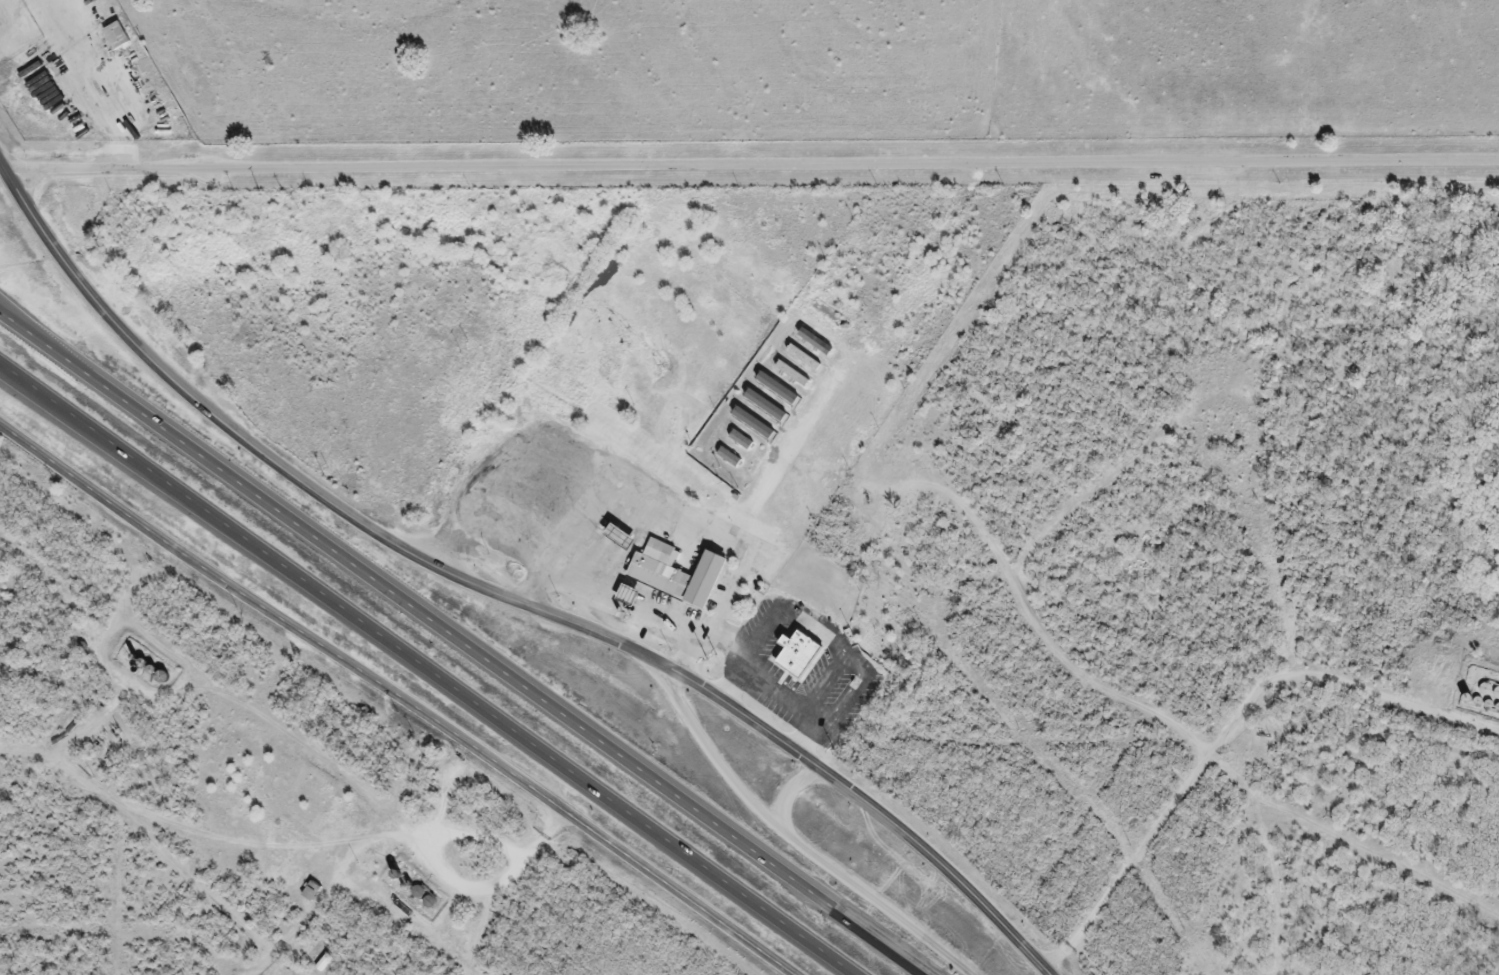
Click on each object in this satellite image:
building: (111, 37)
road: (753, 166)
road: (682, 512)
building: (672, 578)
road: (499, 598)
road: (625, 609)
road: (465, 639)
building: (793, 656)
road: (425, 670)
road: (396, 696)
road: (1227, 730)
road: (789, 787)
road: (791, 839)
building: (307, 892)

